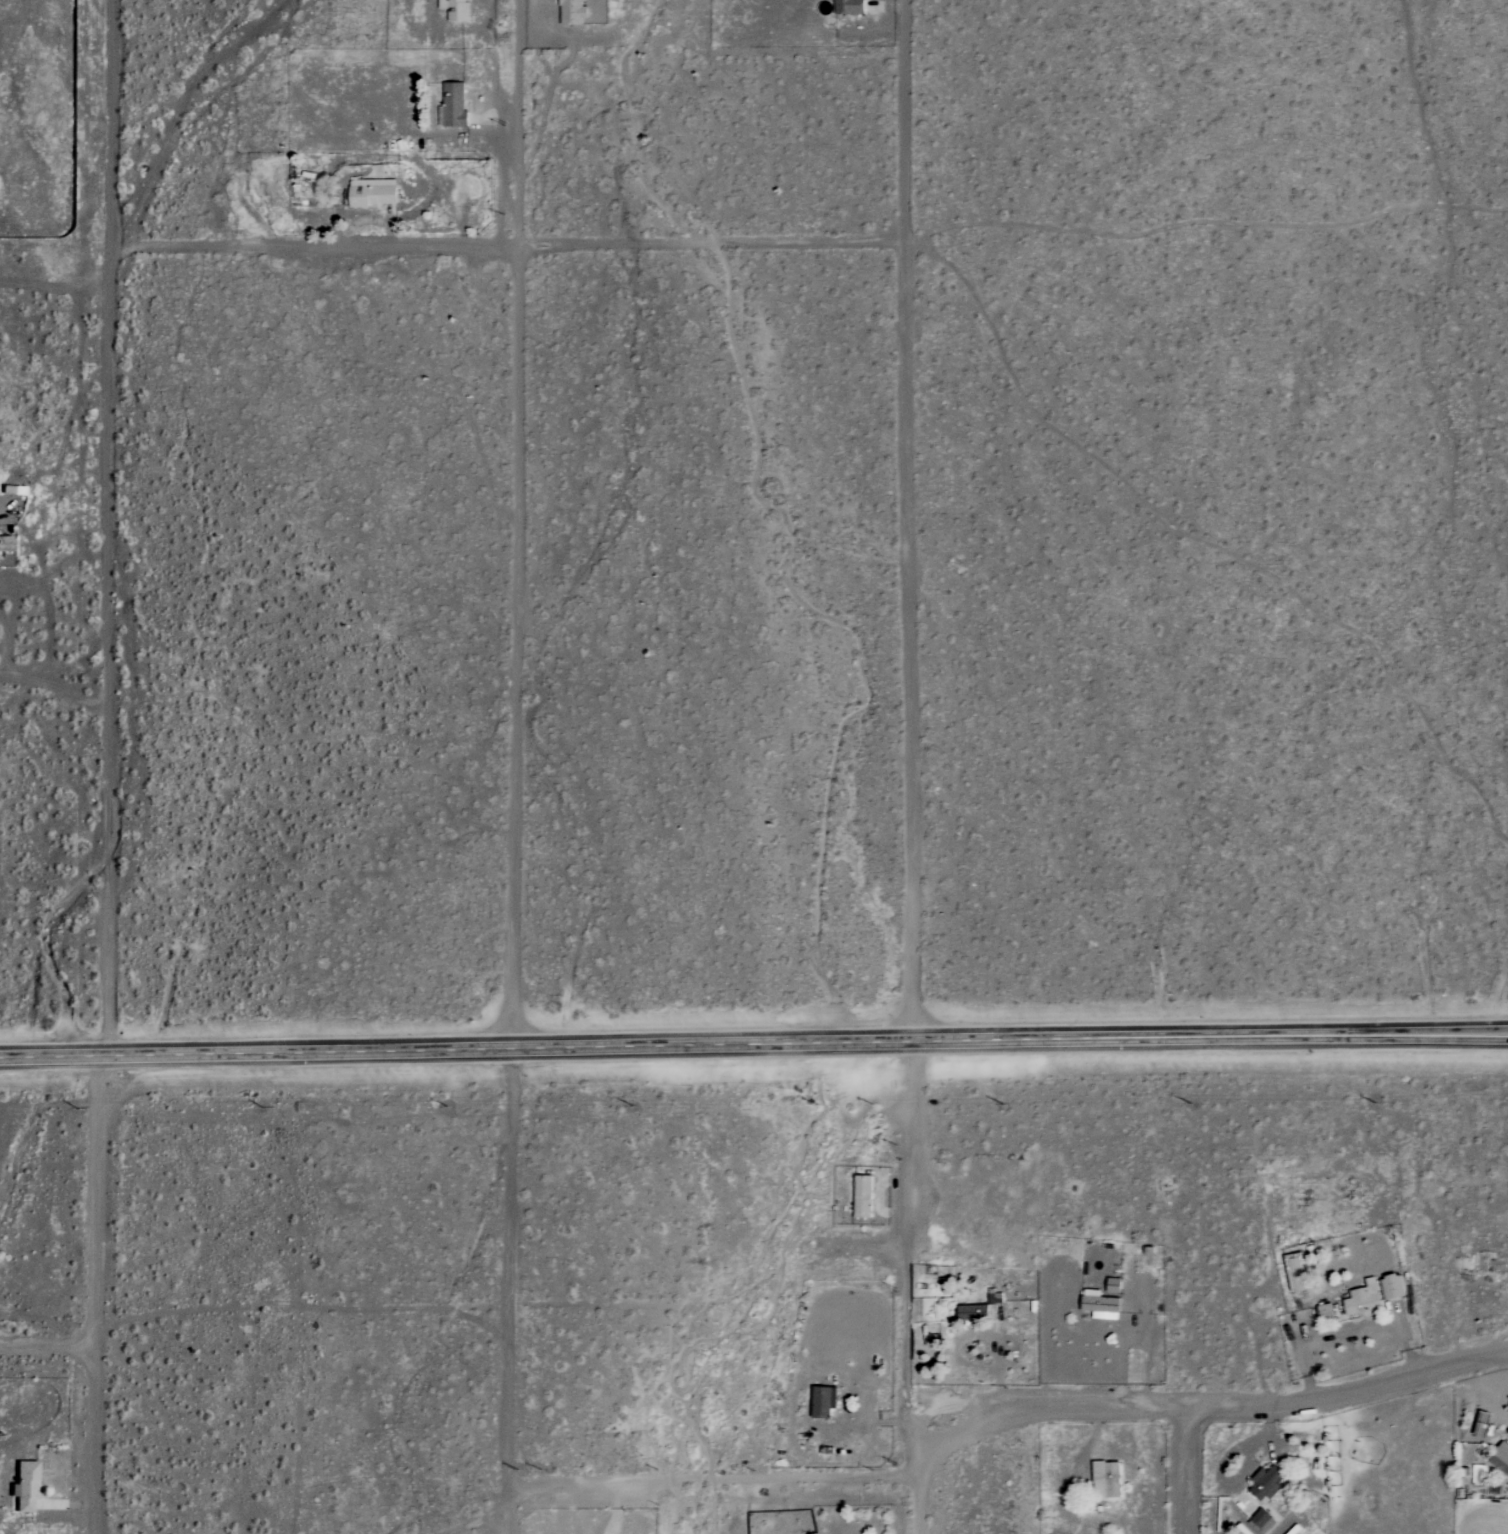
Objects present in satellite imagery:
building: (850, 7)
building: (456, 9)
building: (571, 12)
building: (454, 105)
building: (373, 192)
road: (508, 249)
road: (55, 290)
road: (907, 520)
road: (515, 523)
building: (5, 543)
road: (55, 667)
road: (109, 767)
road: (753, 1044)
road: (913, 1131)
building: (863, 1197)
building: (1297, 1269)
road: (507, 1272)
building: (1114, 1285)
building: (1393, 1287)
building: (996, 1299)
building: (1364, 1299)
building: (1101, 1306)
building: (974, 1312)
building: (1326, 1312)
road: (1140, 1315)
road: (1409, 1339)
road: (44, 1347)
road: (912, 1376)
building: (823, 1402)
road: (1007, 1414)
building: (1481, 1430)
building: (1501, 1458)
road: (1181, 1473)
building: (1107, 1480)
building: (1268, 1482)
building: (24, 1487)
road: (615, 1510)
road: (513, 1512)
building: (1264, 1521)

